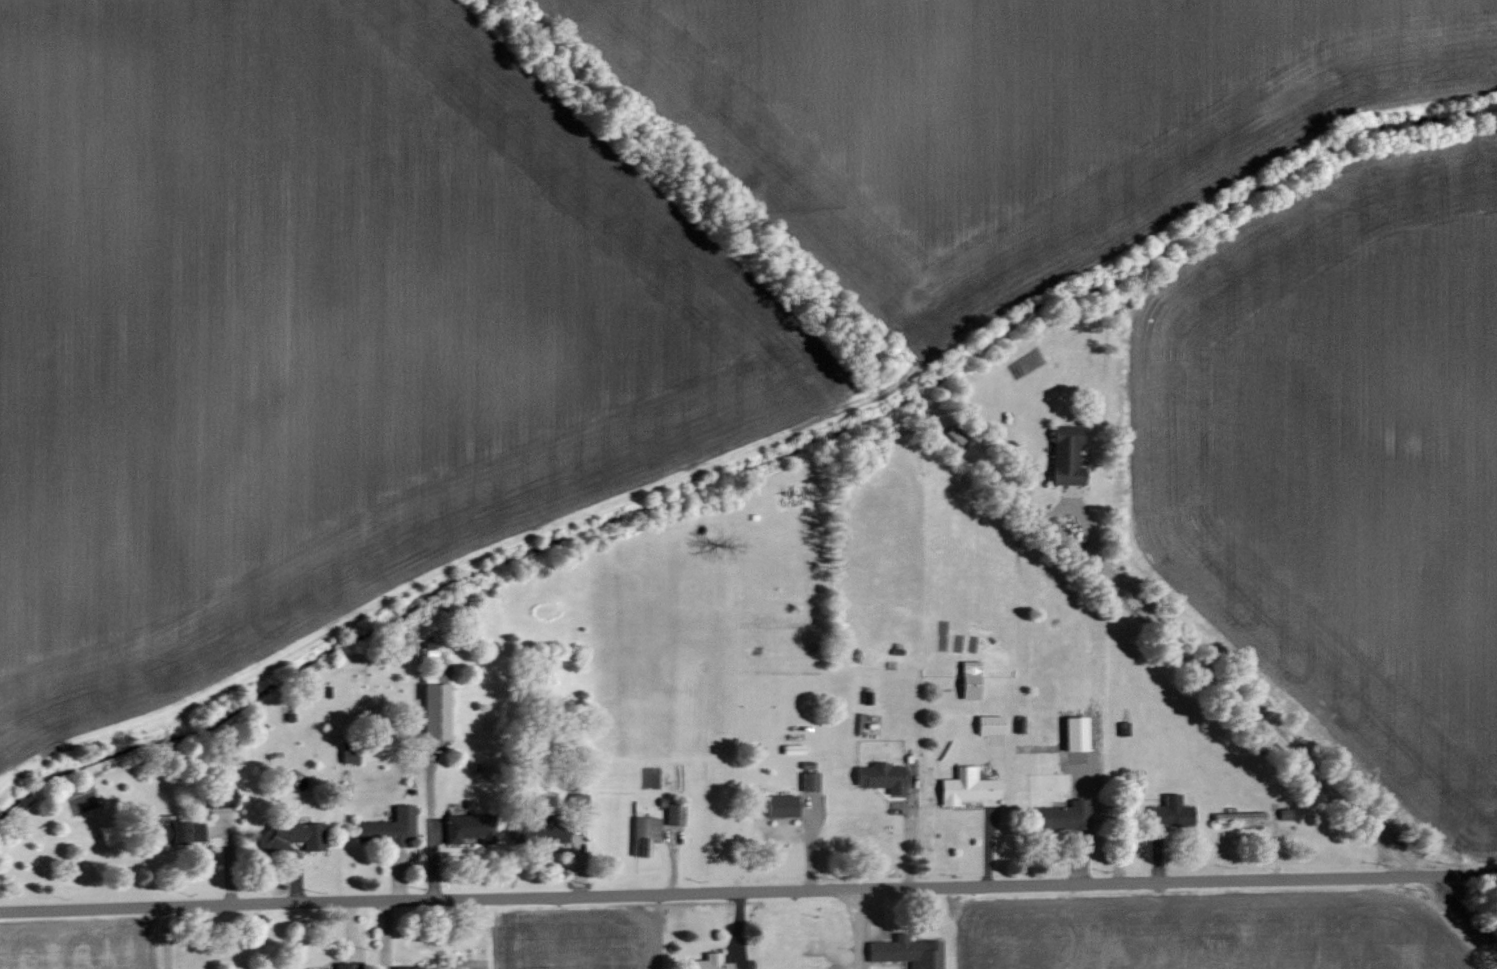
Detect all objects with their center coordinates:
building: (1067, 455)
road: (1201, 663)
building: (971, 680)
building: (436, 711)
building: (349, 755)
building: (883, 777)
building: (810, 781)
building: (968, 788)
building: (221, 798)
building: (782, 806)
building: (1171, 813)
building: (675, 815)
building: (1060, 816)
building: (1240, 817)
building: (390, 827)
building: (470, 828)
building: (179, 832)
building: (547, 832)
building: (645, 835)
building: (294, 836)
road: (748, 893)
road: (858, 930)
building: (908, 952)
building: (710, 962)
building: (347, 966)
building: (404, 967)

